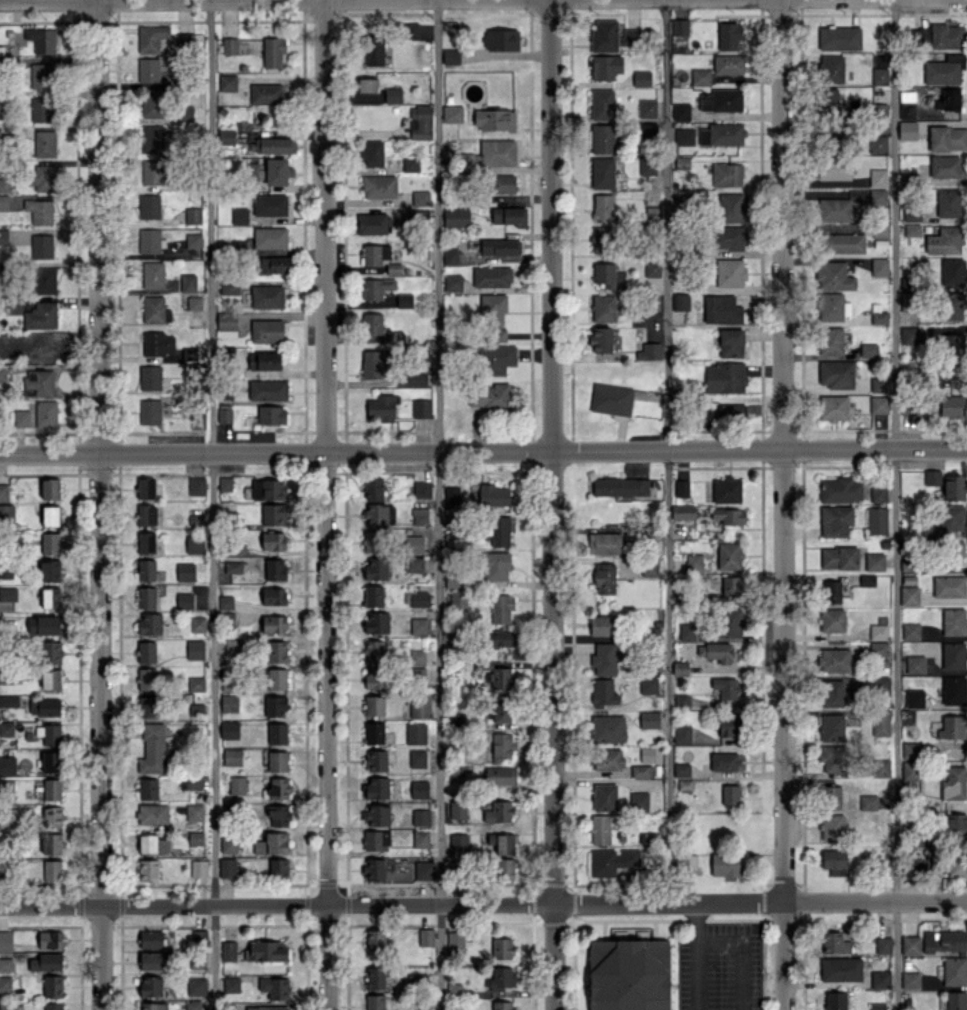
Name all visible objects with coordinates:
road: (48, 0)
building: (452, 25)
building: (680, 27)
building: (409, 30)
building: (729, 35)
building: (923, 35)
building: (611, 36)
building: (947, 36)
building: (151, 37)
building: (840, 38)
building: (42, 39)
building: (501, 39)
building: (230, 45)
building: (374, 50)
building: (273, 51)
building: (451, 56)
building: (728, 64)
building: (606, 67)
building: (149, 69)
building: (831, 69)
building: (944, 70)
building: (41, 75)
building: (700, 76)
building: (880, 76)
building: (641, 78)
building: (227, 82)
building: (365, 84)
building: (266, 93)
building: (393, 95)
building: (829, 98)
building: (948, 99)
building: (721, 100)
building: (153, 104)
building: (602, 104)
building: (647, 108)
building: (41, 109)
building: (907, 109)
building: (1, 111)
building: (680, 111)
building: (185, 112)
building: (452, 113)
building: (494, 119)
building: (420, 122)
building: (907, 130)
building: (722, 134)
building: (838, 134)
building: (226, 136)
building: (684, 136)
building: (152, 138)
building: (602, 138)
building: (947, 138)
building: (45, 143)
building: (877, 144)
building: (275, 145)
building: (497, 152)
building: (372, 153)
building: (410, 163)
building: (647, 165)
building: (945, 166)
building: (833, 168)
building: (255, 171)
building: (277, 171)
building: (152, 172)
building: (602, 172)
building: (727, 174)
building: (877, 177)
building: (44, 178)
building: (502, 183)
building: (5, 184)
building: (379, 186)
building: (419, 197)
building: (878, 197)
building: (4, 202)
building: (948, 203)
building: (270, 204)
building: (149, 206)
building: (602, 207)
building: (731, 207)
building: (837, 210)
building: (40, 211)
building: (652, 213)
building: (911, 213)
building: (193, 215)
building: (240, 215)
building: (510, 216)
building: (456, 217)
building: (373, 223)
building: (912, 229)
building: (4, 236)
building: (270, 237)
building: (729, 237)
building: (601, 239)
building: (149, 240)
building: (194, 240)
building: (945, 240)
building: (843, 243)
building: (41, 246)
building: (500, 247)
building: (375, 254)
building: (450, 256)
building: (275, 264)
building: (879, 267)
building: (652, 269)
building: (952, 271)
building: (730, 272)
building: (153, 274)
building: (608, 275)
building: (492, 276)
building: (835, 276)
building: (45, 280)
building: (188, 282)
building: (453, 282)
building: (229, 286)
building: (377, 287)
building: (266, 296)
building: (404, 300)
building: (680, 301)
building: (906, 301)
building: (194, 303)
building: (13, 305)
building: (952, 305)
building: (833, 306)
building: (603, 307)
building: (155, 309)
building: (722, 309)
building: (41, 315)
building: (493, 317)
building: (879, 317)
building: (372, 323)
building: (226, 324)
building: (267, 331)
building: (909, 335)
building: (601, 339)
building: (5, 340)
building: (831, 340)
building: (731, 342)
building: (952, 344)
building: (165, 346)
building: (37, 349)
building: (868, 349)
building: (649, 351)
building: (226, 352)
building: (495, 359)
building: (264, 360)
building: (375, 363)
building: (3, 373)
building: (836, 374)
building: (950, 375)
building: (150, 377)
building: (725, 377)
building: (414, 378)
building: (38, 383)
building: (879, 384)
building: (268, 390)
building: (490, 396)
building: (611, 399)
building: (879, 404)
building: (952, 406)
building: (381, 407)
building: (833, 407)
building: (421, 408)
building: (150, 411)
building: (734, 412)
building: (46, 413)
building: (224, 413)
building: (272, 414)
building: (705, 417)
building: (21, 418)
road: (483, 449)
road: (780, 450)
road: (667, 451)
building: (932, 477)
building: (225, 483)
building: (197, 485)
building: (621, 487)
building: (681, 487)
building: (954, 487)
building: (50, 488)
building: (145, 488)
building: (372, 488)
building: (268, 489)
building: (840, 489)
building: (421, 490)
building: (727, 490)
building: (4, 491)
building: (878, 493)
building: (490, 495)
building: (452, 496)
road: (554, 504)
road: (96, 505)
road: (211, 505)
road: (327, 505)
road: (438, 505)
road: (897, 505)
building: (6, 512)
building: (683, 512)
building: (274, 514)
building: (375, 514)
building: (50, 515)
building: (147, 515)
building: (729, 515)
building: (951, 518)
building: (195, 519)
building: (835, 520)
building: (876, 520)
building: (500, 531)
building: (274, 540)
building: (374, 541)
building: (146, 542)
building: (604, 542)
building: (50, 543)
building: (195, 544)
building: (414, 544)
building: (953, 553)
building: (729, 556)
building: (839, 557)
building: (874, 561)
building: (693, 562)
building: (414, 564)
building: (496, 565)
building: (233, 567)
building: (650, 567)
building: (376, 568)
building: (275, 569)
building: (50, 570)
building: (146, 570)
building: (185, 571)
building: (5, 572)
building: (604, 578)
building: (867, 580)
building: (949, 586)
building: (729, 587)
building: (831, 591)
building: (909, 595)
building: (273, 596)
building: (373, 596)
building: (7, 597)
building: (146, 597)
building: (50, 598)
building: (419, 599)
building: (184, 600)
building: (458, 600)
building: (225, 602)
building: (502, 608)
building: (832, 620)
building: (954, 621)
building: (377, 622)
building: (728, 622)
building: (150, 623)
building: (198, 624)
building: (274, 624)
building: (43, 625)
building: (419, 625)
building: (603, 625)
building: (910, 630)
building: (687, 631)
building: (878, 631)
building: (501, 638)
building: (233, 647)
building: (195, 649)
building: (874, 649)
building: (373, 650)
building: (147, 651)
building: (276, 651)
building: (715, 651)
building: (50, 652)
building: (417, 656)
building: (954, 656)
building: (604, 659)
building: (834, 659)
building: (915, 664)
building: (680, 668)
building: (417, 672)
building: (497, 676)
building: (276, 678)
building: (375, 678)
building: (51, 679)
building: (147, 679)
building: (196, 683)
building: (648, 685)
building: (881, 685)
building: (726, 687)
building: (954, 690)
building: (603, 692)
building: (832, 693)
building: (914, 698)
building: (681, 700)
building: (9, 701)
building: (229, 703)
building: (374, 705)
building: (420, 705)
building: (148, 706)
building: (275, 706)
building: (45, 707)
building: (502, 710)
building: (649, 720)
building: (880, 723)
building: (728, 725)
building: (832, 727)
building: (952, 727)
building: (608, 728)
building: (6, 729)
building: (229, 729)
building: (50, 733)
building: (277, 733)
building: (374, 733)
building: (682, 733)
building: (416, 734)
building: (502, 746)
building: (152, 749)
building: (910, 749)
building: (232, 756)
building: (417, 758)
building: (608, 758)
building: (833, 758)
building: (376, 760)
building: (52, 761)
building: (277, 761)
building: (724, 761)
building: (7, 765)
building: (881, 767)
building: (681, 769)
building: (641, 770)
building: (457, 771)
building: (909, 772)
building: (500, 776)
building: (190, 782)
building: (954, 783)
building: (685, 784)
building: (237, 785)
building: (6, 786)
building: (377, 787)
building: (277, 788)
building: (52, 789)
building: (148, 789)
building: (419, 789)
building: (731, 794)
building: (830, 796)
building: (605, 797)
building: (638, 801)
building: (868, 802)
building: (457, 809)
building: (195, 812)
building: (499, 812)
building: (153, 813)
building: (278, 814)
building: (377, 815)
building: (52, 816)
building: (421, 817)
building: (955, 823)
building: (832, 827)
building: (600, 829)
building: (196, 837)
building: (421, 838)
building: (375, 840)
building: (459, 841)
building: (51, 843)
building: (229, 843)
building: (272, 843)
building: (153, 844)
building: (505, 844)
building: (612, 860)
building: (688, 861)
building: (834, 861)
building: (951, 863)
building: (726, 864)
building: (227, 867)
building: (278, 867)
building: (199, 868)
building: (504, 868)
building: (374, 869)
building: (52, 870)
building: (148, 870)
building: (423, 870)
building: (908, 870)
road: (874, 901)
road: (391, 903)
building: (200, 936)
building: (426, 937)
building: (50, 939)
building: (151, 939)
building: (6, 940)
building: (375, 940)
building: (454, 940)
building: (944, 940)
building: (835, 943)
building: (883, 945)
building: (910, 945)
building: (502, 948)
building: (228, 950)
building: (266, 950)
road: (782, 955)
road: (696, 956)
building: (152, 960)
building: (198, 961)
building: (46, 962)
building: (6, 964)
building: (840, 969)
building: (954, 970)
building: (629, 974)
building: (375, 978)
building: (500, 978)
building: (880, 979)
building: (910, 980)
building: (5, 984)
building: (231, 984)
building: (53, 986)
building: (151, 986)
building: (197, 986)
building: (275, 987)
building: (836, 1000)
building: (956, 1000)
building: (375, 1002)
building: (193, 1005)
building: (502, 1005)
building: (53, 1006)
building: (153, 1006)
building: (877, 1006)
building: (7, 1007)
building: (267, 1008)

